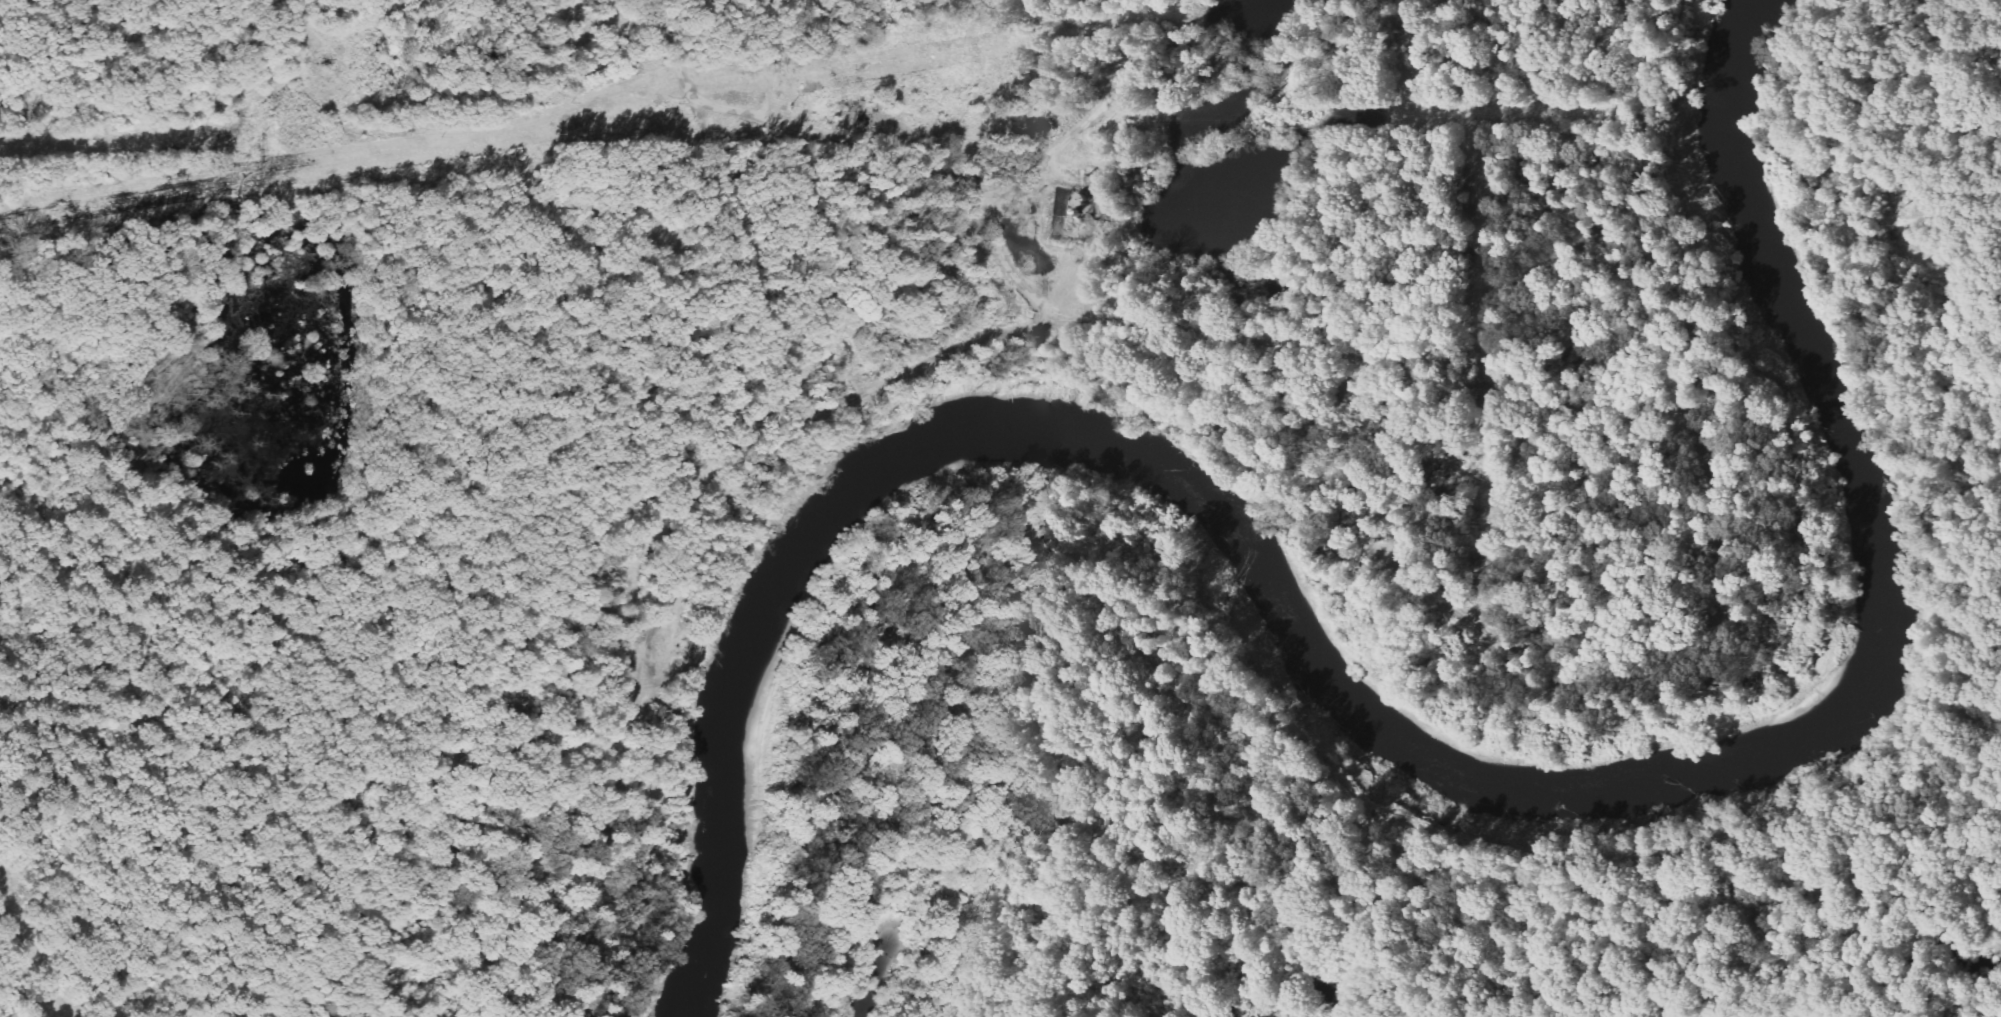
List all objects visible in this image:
road: (857, 149)
road: (923, 367)
road: (1719, 492)
road: (1269, 707)
river: (1383, 725)
road: (1381, 909)

